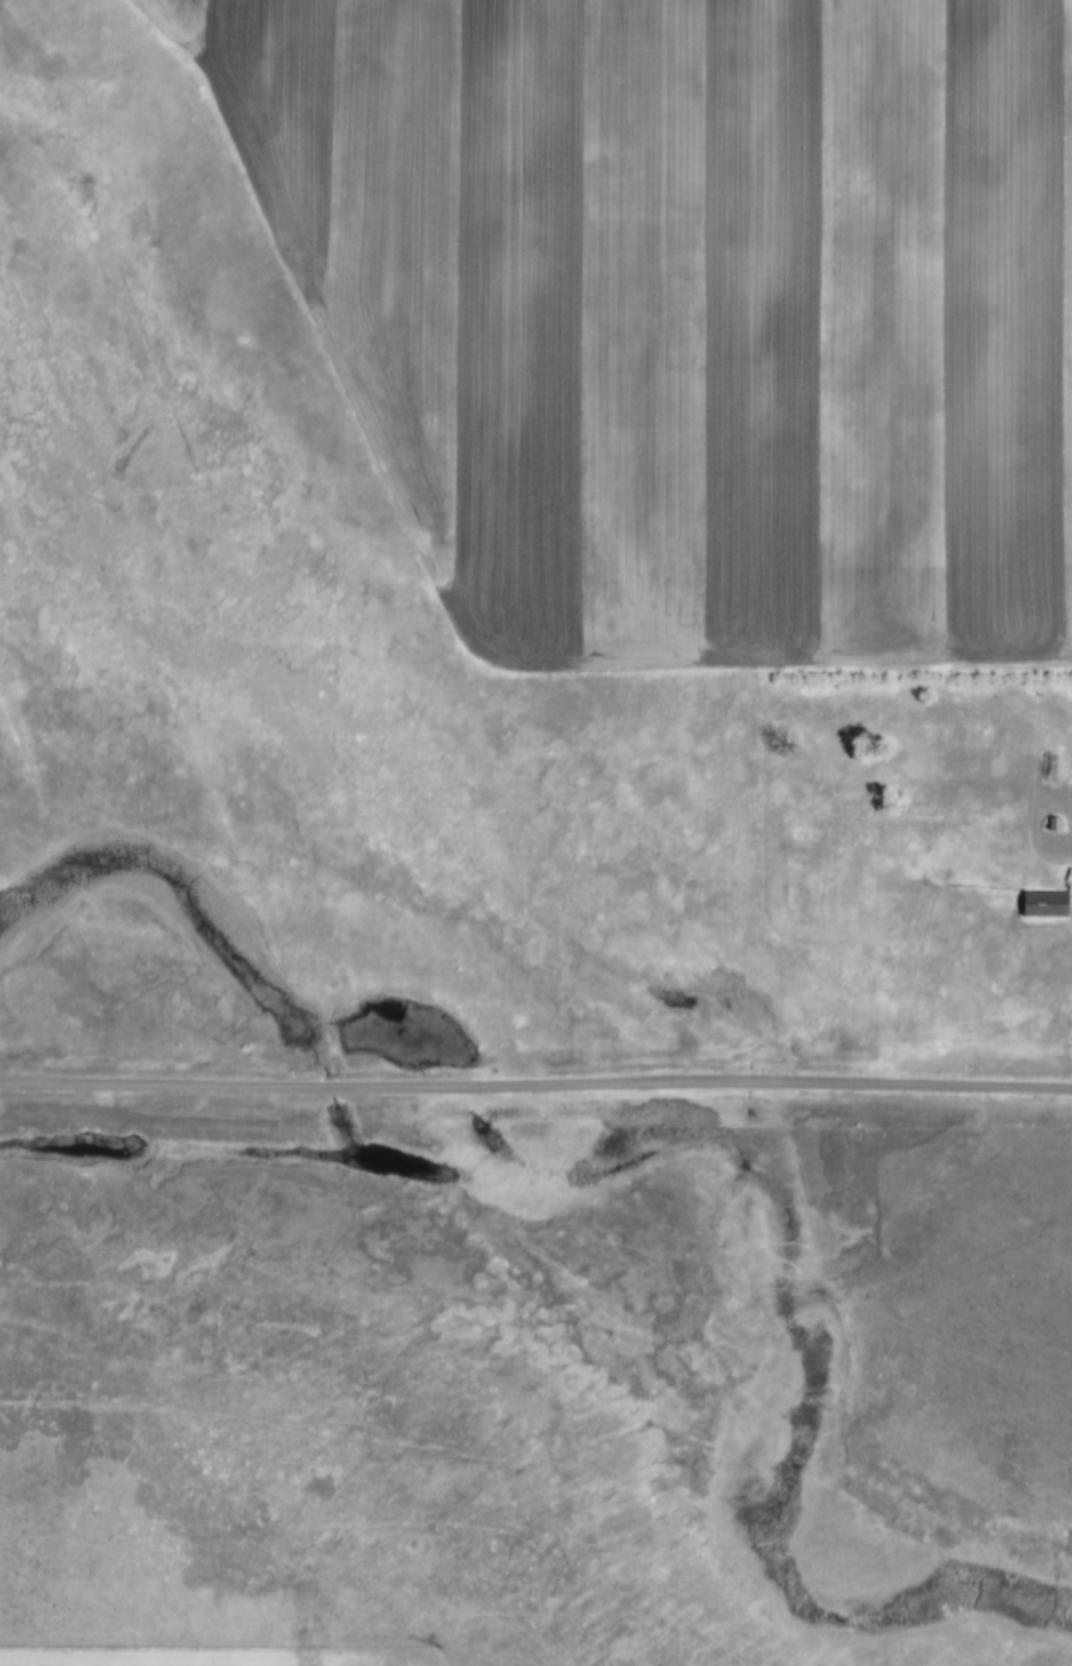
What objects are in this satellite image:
road: (1068, 493)
building: (1052, 820)
building: (1042, 902)
road: (535, 1088)

